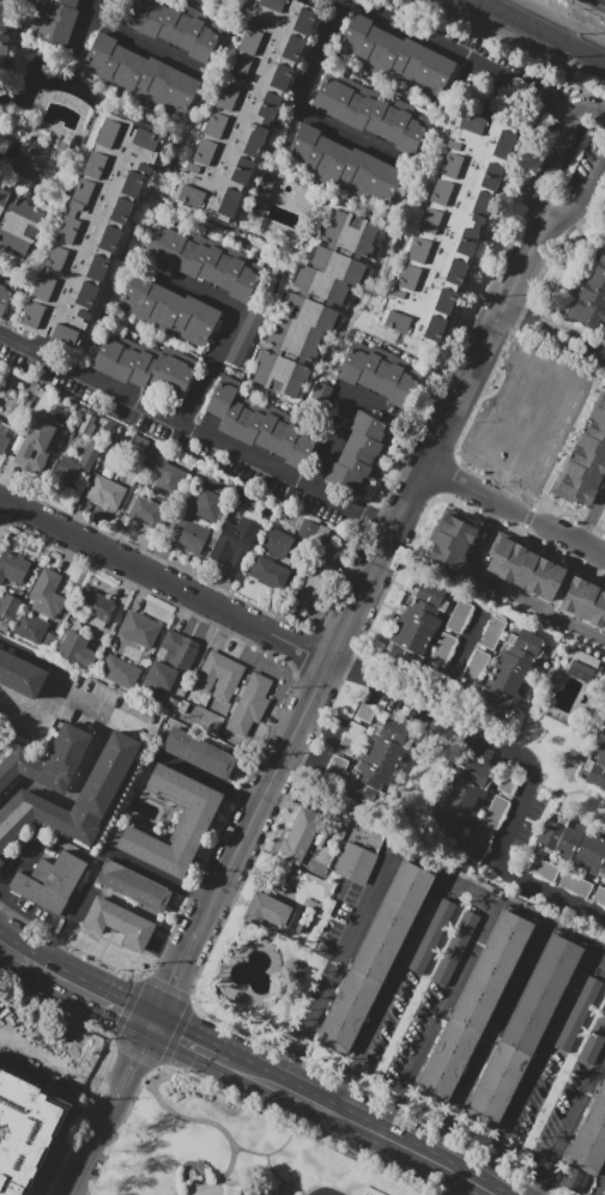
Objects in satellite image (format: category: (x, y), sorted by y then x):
building: (53, 20)
building: (171, 28)
railway: (549, 28)
railway: (537, 32)
building: (2, 37)
road: (132, 37)
road: (460, 54)
building: (394, 55)
building: (139, 75)
building: (246, 105)
road: (588, 107)
road: (292, 108)
building: (370, 113)
road: (545, 160)
building: (43, 164)
building: (343, 166)
road: (582, 198)
building: (18, 220)
building: (448, 228)
building: (91, 229)
building: (205, 260)
building: (0, 273)
building: (5, 293)
building: (591, 296)
building: (314, 305)
building: (168, 310)
road: (230, 326)
road: (555, 332)
building: (244, 338)
road: (601, 346)
building: (141, 365)
building: (380, 374)
building: (319, 396)
building: (600, 400)
building: (597, 414)
road: (338, 419)
building: (258, 424)
building: (86, 425)
building: (594, 429)
road: (198, 431)
parking lot: (179, 435)
building: (4, 436)
building: (40, 438)
road: (438, 441)
building: (138, 443)
building: (591, 444)
building: (359, 454)
building: (587, 460)
building: (77, 465)
building: (164, 474)
building: (581, 474)
building: (571, 489)
building: (103, 491)
road: (515, 510)
road: (125, 512)
building: (145, 512)
building: (206, 514)
road: (592, 516)
building: (603, 516)
building: (604, 520)
building: (455, 523)
building: (310, 530)
building: (448, 540)
building: (234, 541)
building: (277, 542)
building: (498, 554)
building: (443, 557)
building: (512, 562)
building: (12, 568)
building: (525, 569)
building: (268, 571)
building: (537, 575)
road: (164, 580)
building: (551, 582)
building: (319, 583)
road: (75, 589)
road: (506, 589)
building: (47, 594)
building: (571, 594)
building: (429, 595)
building: (587, 601)
building: (8, 607)
building: (95, 607)
building: (598, 609)
building: (423, 613)
building: (458, 615)
building: (4, 626)
building: (416, 627)
building: (139, 629)
building: (35, 630)
building: (492, 633)
building: (409, 642)
building: (177, 650)
building: (443, 650)
building: (77, 651)
building: (403, 653)
building: (476, 666)
building: (582, 666)
building: (510, 668)
building: (210, 671)
building: (120, 672)
building: (20, 674)
building: (228, 680)
building: (157, 683)
road: (60, 689)
building: (255, 691)
building: (364, 712)
building: (242, 717)
building: (394, 733)
building: (351, 739)
building: (386, 747)
building: (199, 753)
building: (48, 760)
building: (379, 762)
building: (337, 765)
building: (597, 765)
road: (528, 766)
building: (373, 777)
road: (208, 778)
building: (506, 784)
building: (364, 793)
road: (72, 795)
building: (95, 797)
road: (264, 797)
building: (456, 803)
building: (495, 812)
building: (199, 814)
building: (300, 837)
building: (574, 842)
building: (478, 845)
road: (101, 855)
building: (1, 862)
road: (18, 862)
building: (355, 863)
building: (539, 868)
building: (49, 882)
building: (133, 885)
building: (575, 885)
road: (467, 886)
building: (599, 896)
road: (10, 900)
road: (365, 908)
building: (268, 912)
building: (117, 922)
building: (431, 936)
building: (455, 947)
road: (167, 950)
road: (12, 952)
road: (599, 954)
building: (374, 957)
road: (52, 972)
road: (175, 977)
road: (394, 978)
road: (443, 1002)
road: (116, 1003)
building: (476, 1005)
building: (579, 1014)
traffic signals: (153, 1023)
road: (308, 1025)
road: (492, 1029)
building: (524, 1030)
building: (594, 1039)
road: (193, 1042)
road: (542, 1054)
road: (134, 1061)
road: (58, 1069)
road: (256, 1074)
road: (340, 1098)
road: (305, 1099)
road: (199, 1121)
road: (387, 1121)
road: (571, 1122)
building: (26, 1132)
road: (434, 1145)
road: (91, 1147)
road: (284, 1147)
building: (587, 1147)
park: (217, 1148)
road: (413, 1152)
road: (483, 1170)
road: (283, 1181)
road: (600, 1187)
road: (467, 1188)
road: (538, 1191)
building: (267, 1193)
road: (325, 1194)
parking lot: (368, 1194)

